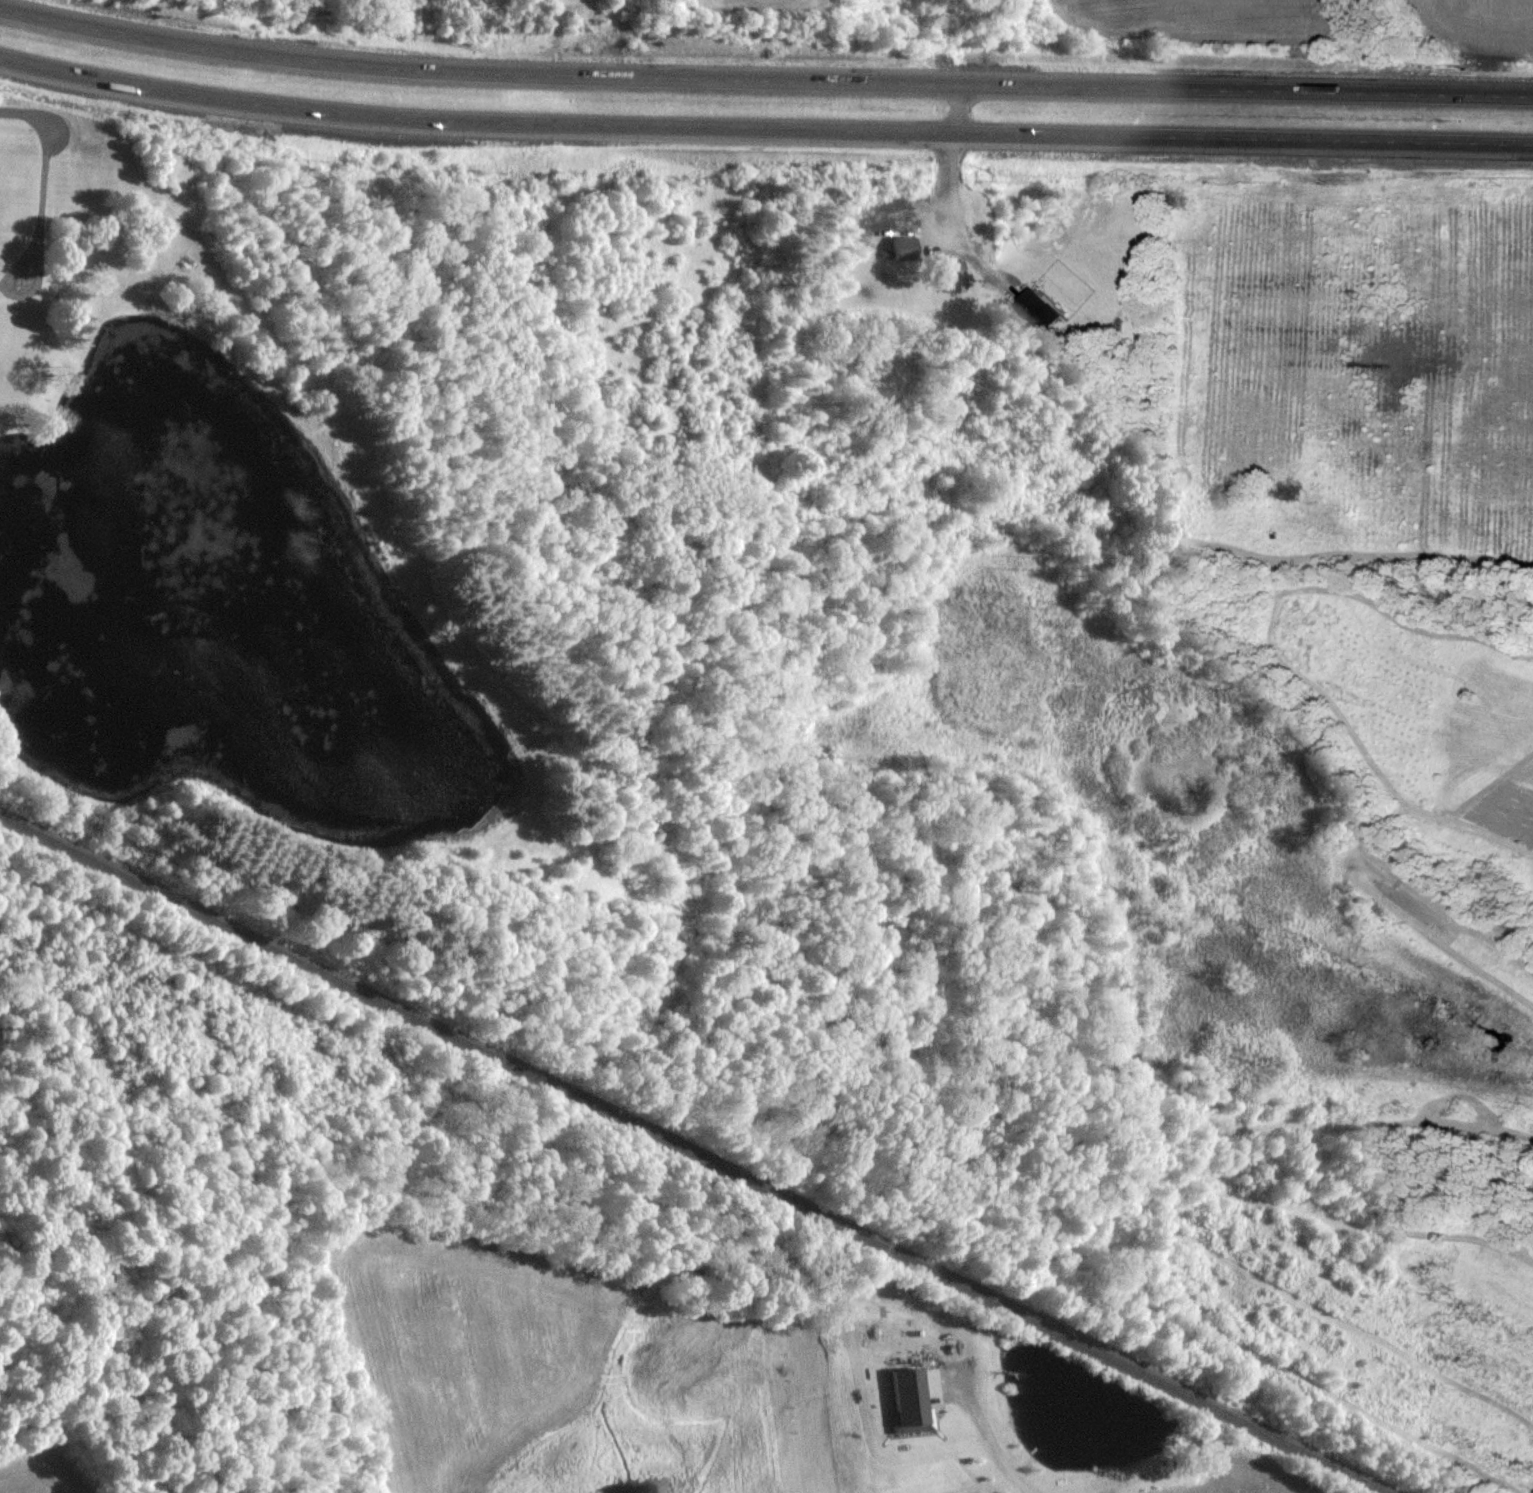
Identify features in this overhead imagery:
road: (763, 81)
road: (27, 115)
road: (763, 129)
road: (43, 209)
road: (956, 217)
building: (904, 249)
building: (953, 276)
building: (1039, 314)
railway: (694, 1153)
building: (915, 1399)
road: (993, 1446)

